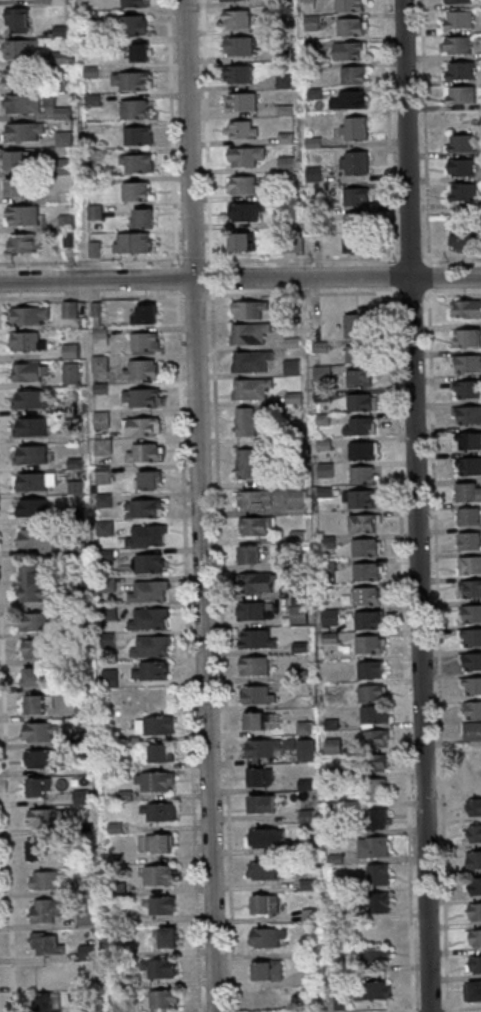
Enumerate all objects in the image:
building: (232, 0)
building: (459, 1)
building: (136, 3)
building: (352, 5)
building: (17, 19)
building: (237, 19)
building: (460, 19)
building: (136, 24)
building: (353, 25)
building: (458, 45)
building: (239, 46)
building: (20, 48)
building: (351, 50)
building: (142, 52)
building: (57, 57)
building: (461, 71)
building: (355, 74)
building: (238, 75)
building: (14, 76)
building: (132, 80)
building: (461, 95)
building: (351, 100)
building: (242, 102)
building: (22, 104)
building: (135, 108)
building: (355, 129)
road: (211, 130)
building: (243, 130)
road: (175, 131)
building: (24, 132)
building: (139, 136)
building: (65, 139)
building: (463, 143)
building: (246, 157)
building: (16, 159)
building: (138, 163)
building: (356, 164)
building: (288, 165)
building: (462, 167)
building: (244, 185)
building: (17, 186)
building: (138, 190)
building: (464, 191)
building: (357, 196)
building: (247, 212)
building: (24, 214)
building: (144, 218)
building: (357, 221)
building: (466, 239)
building: (243, 241)
building: (134, 242)
building: (25, 243)
building: (356, 243)
road: (240, 260)
road: (240, 278)
road: (240, 294)
building: (71, 309)
building: (467, 309)
building: (251, 310)
building: (146, 314)
building: (30, 315)
building: (359, 325)
building: (248, 334)
building: (101, 336)
building: (467, 339)
building: (28, 340)
building: (145, 342)
building: (71, 350)
building: (357, 354)
building: (251, 362)
building: (101, 363)
building: (468, 365)
building: (142, 370)
building: (30, 372)
building: (71, 373)
building: (360, 377)
building: (467, 390)
building: (252, 391)
building: (142, 397)
building: (32, 399)
building: (363, 401)
building: (468, 415)
building: (103, 419)
building: (246, 423)
building: (143, 425)
building: (361, 425)
building: (31, 426)
building: (467, 440)
building: (103, 446)
building: (363, 451)
building: (145, 452)
building: (31, 454)
building: (250, 465)
building: (468, 465)
building: (363, 475)
building: (148, 479)
building: (36, 481)
building: (469, 492)
building: (361, 499)
building: (253, 500)
road: (421, 505)
road: (205, 506)
building: (33, 507)
building: (145, 508)
building: (469, 516)
building: (363, 524)
building: (255, 527)
building: (148, 536)
building: (37, 538)
building: (469, 540)
building: (367, 548)
building: (250, 555)
building: (150, 564)
building: (469, 565)
building: (367, 573)
building: (258, 583)
building: (33, 584)
building: (469, 589)
building: (149, 592)
building: (367, 596)
building: (252, 612)
building: (469, 613)
building: (299, 615)
building: (331, 617)
building: (150, 619)
building: (369, 620)
building: (35, 622)
road: (191, 636)
road: (226, 636)
building: (470, 637)
building: (257, 640)
building: (370, 644)
building: (152, 647)
building: (34, 648)
building: (471, 662)
building: (255, 667)
building: (372, 669)
building: (152, 671)
building: (34, 676)
building: (471, 687)
building: (373, 693)
building: (258, 696)
building: (35, 704)
building: (472, 711)
building: (375, 715)
building: (254, 721)
building: (154, 725)
building: (39, 731)
road: (9, 732)
building: (472, 732)
building: (376, 739)
building: (334, 745)
building: (255, 748)
building: (305, 752)
building: (161, 753)
building: (40, 758)
building: (376, 763)
building: (260, 777)
building: (155, 782)
building: (474, 783)
building: (306, 784)
building: (37, 786)
building: (378, 790)
building: (262, 803)
building: (474, 806)
building: (160, 812)
building: (306, 816)
building: (43, 818)
building: (379, 818)
building: (474, 833)
building: (267, 837)
building: (157, 844)
building: (374, 847)
building: (37, 850)
building: (474, 859)
building: (264, 870)
building: (378, 874)
building: (158, 876)
building: (45, 880)
building: (475, 886)
building: (380, 902)
building: (266, 903)
building: (162, 906)
building: (46, 909)
building: (473, 911)
building: (85, 918)
building: (268, 936)
building: (166, 937)
building: (473, 937)
building: (47, 943)
building: (88, 951)
building: (377, 956)
building: (474, 964)
building: (161, 968)
building: (268, 970)
building: (56, 975)
building: (373, 989)
building: (473, 991)
building: (164, 998)
building: (45, 1002)
road: (449, 1010)

